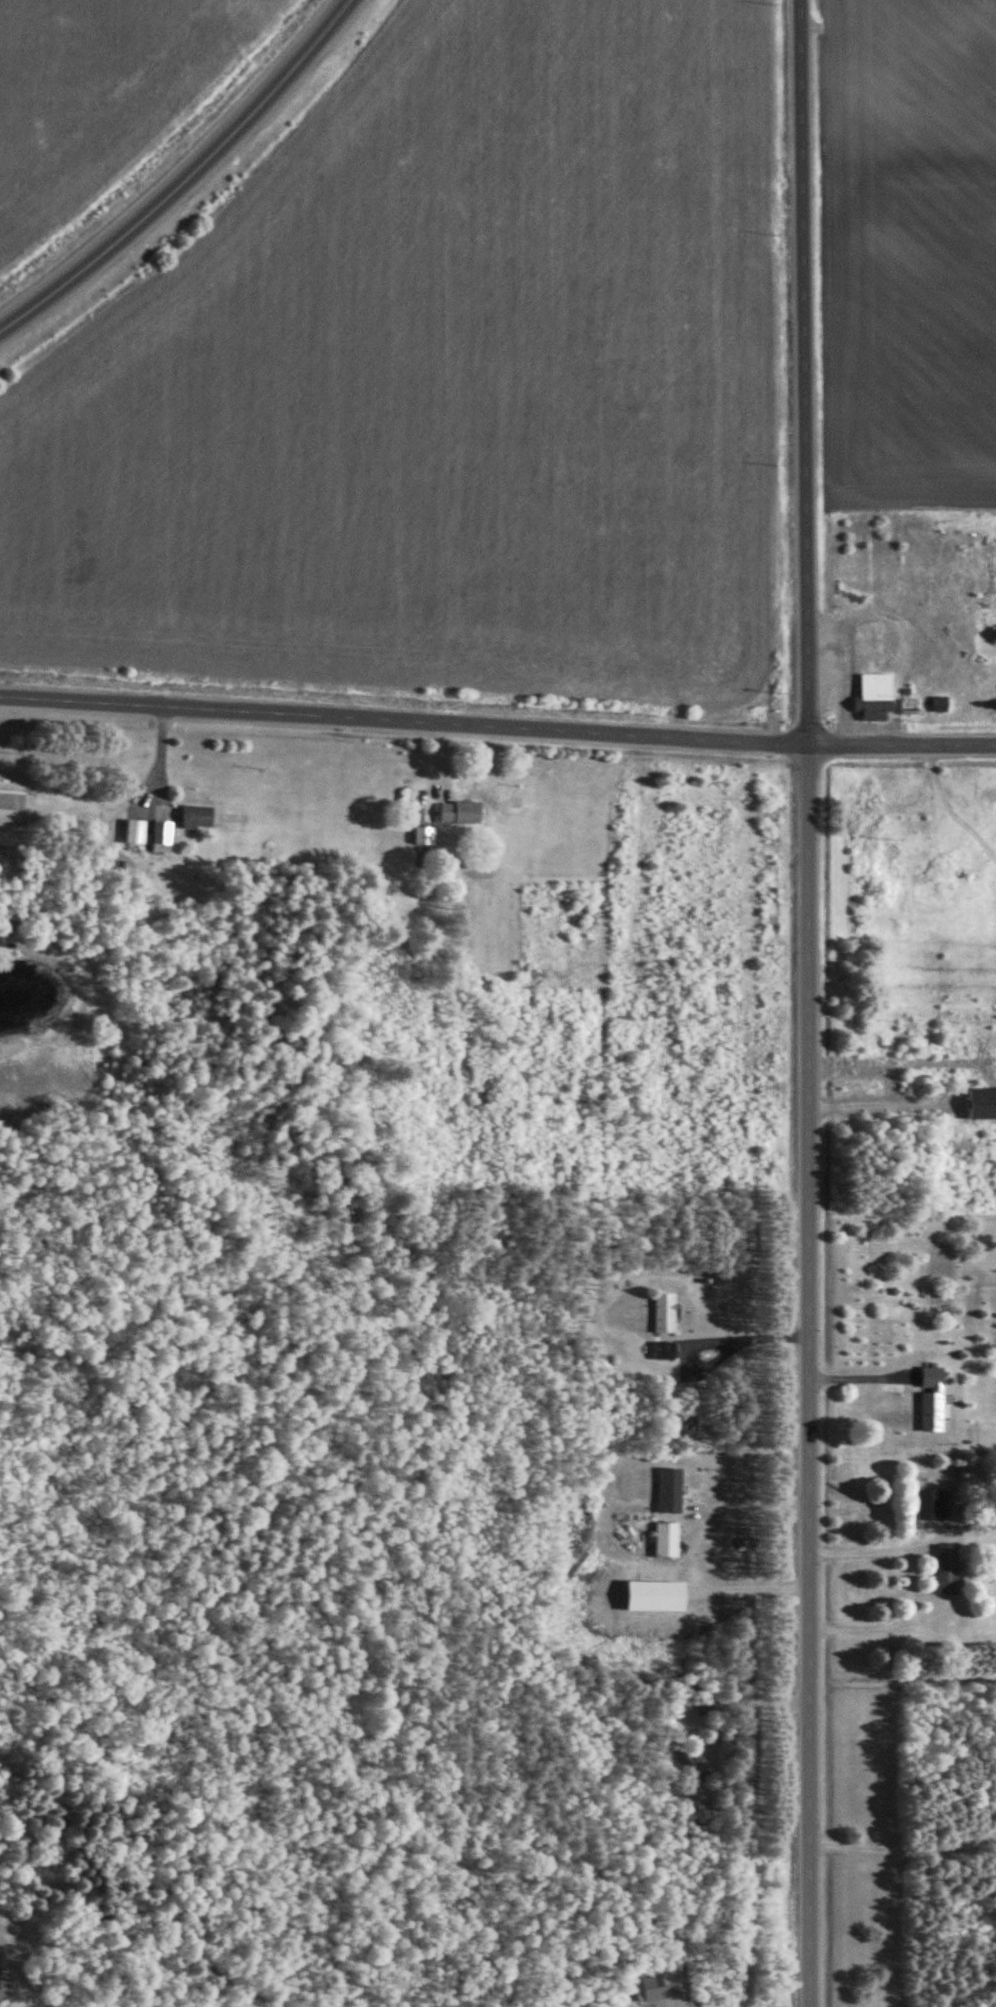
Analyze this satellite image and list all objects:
road: (187, 177)
building: (876, 698)
building: (941, 705)
building: (910, 708)
road: (497, 727)
building: (462, 812)
building: (198, 816)
building: (12, 817)
building: (137, 830)
building: (426, 835)
building: (164, 836)
road: (811, 1003)
building: (982, 1095)
building: (666, 1313)
road: (715, 1338)
building: (665, 1350)
building: (932, 1399)
building: (671, 1490)
building: (667, 1540)
building: (948, 1570)
building: (697, 1761)
building: (660, 1987)

